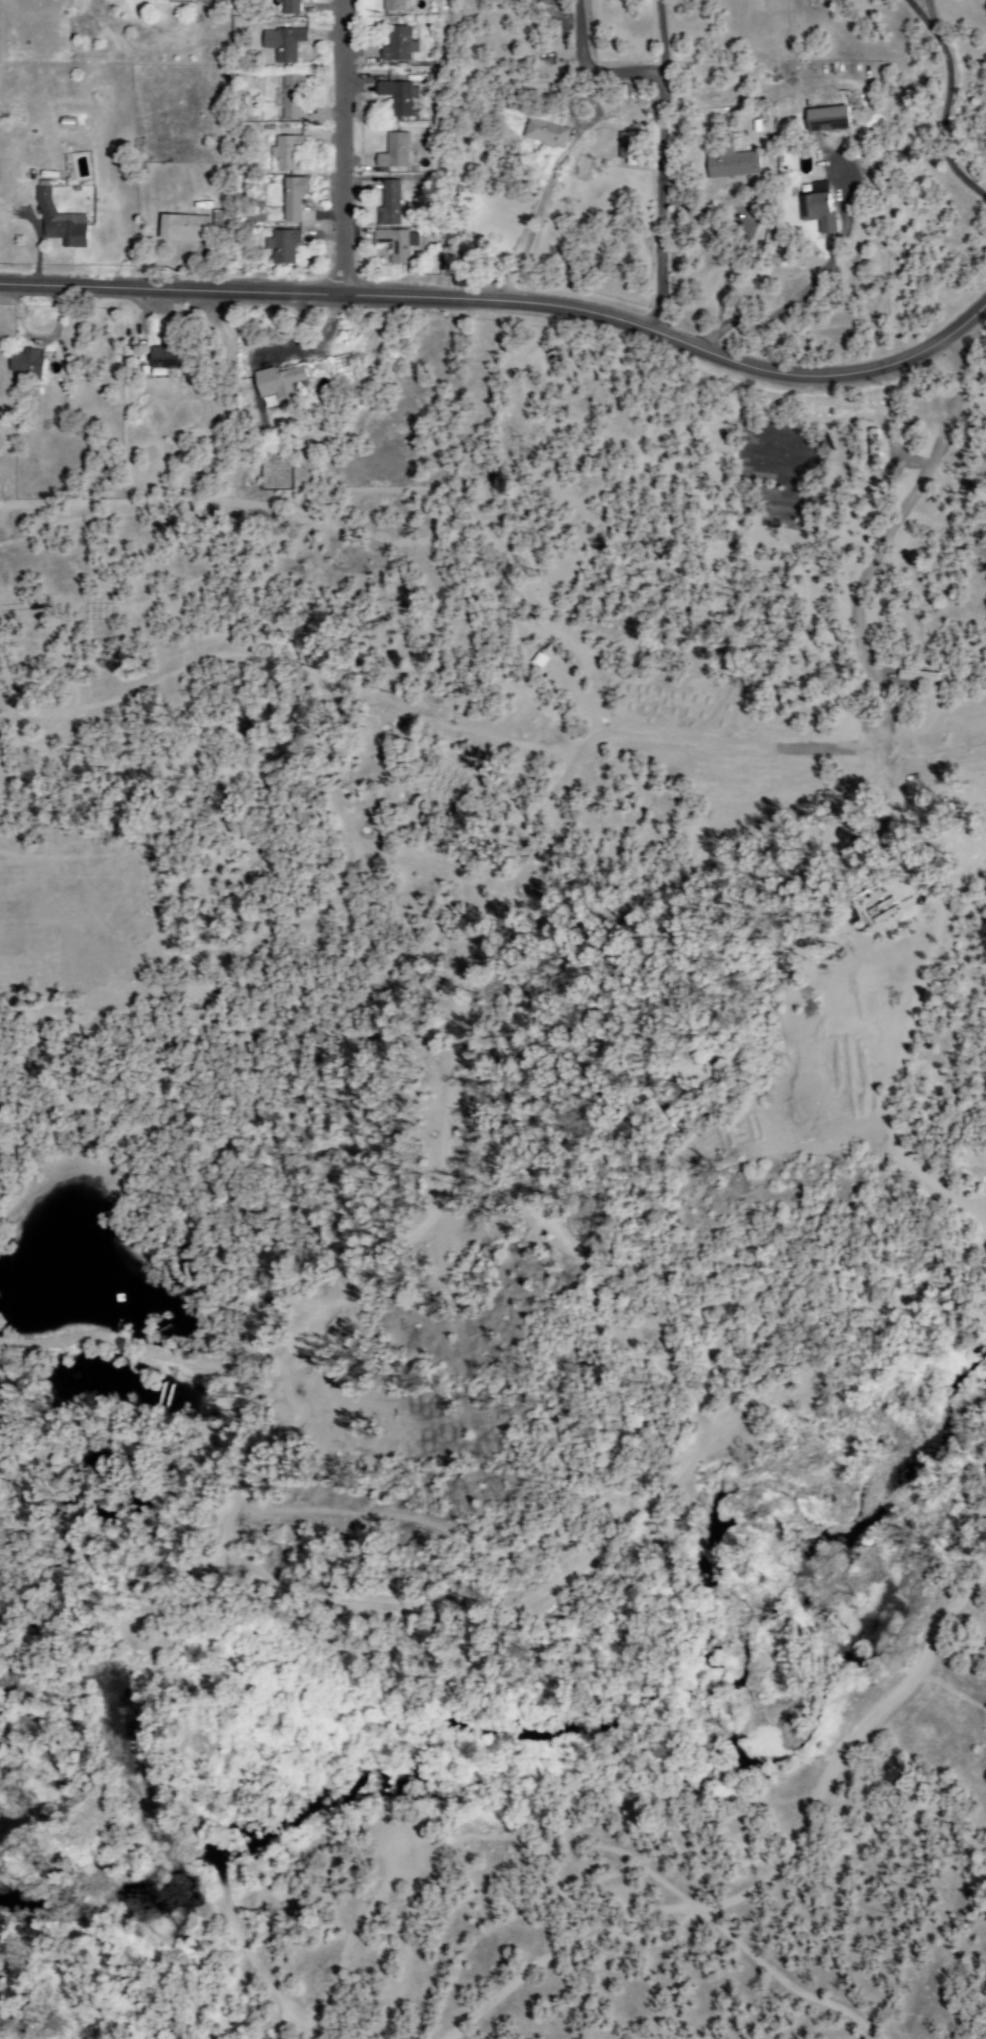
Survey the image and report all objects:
building: (154, 0)
building: (392, 5)
building: (289, 7)
building: (282, 44)
building: (397, 45)
building: (290, 96)
building: (398, 97)
road: (282, 116)
building: (825, 119)
building: (545, 130)
road: (343, 147)
building: (626, 148)
building: (393, 152)
building: (284, 154)
building: (730, 164)
road: (660, 165)
road: (129, 197)
building: (291, 199)
building: (388, 205)
building: (816, 212)
building: (59, 223)
building: (183, 229)
building: (396, 244)
building: (282, 246)
road: (792, 296)
road: (507, 299)
building: (162, 356)
building: (25, 363)
building: (277, 384)

